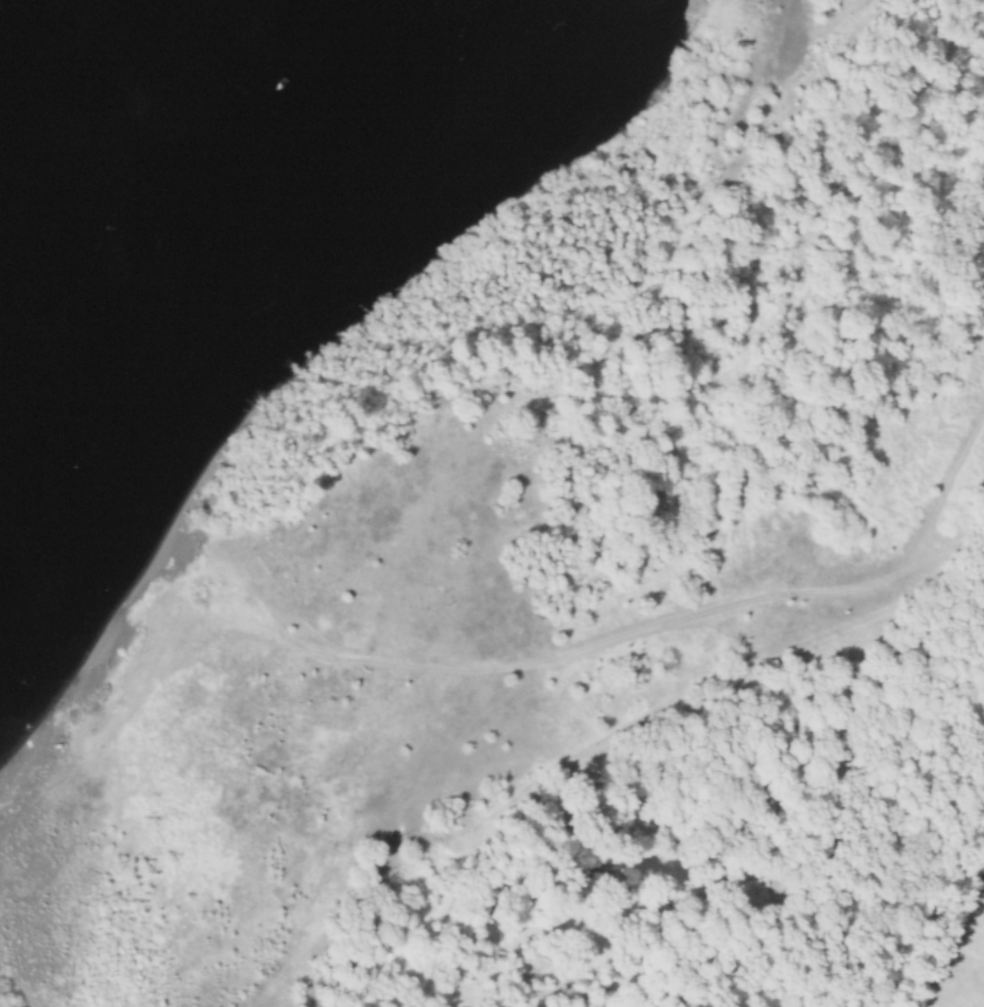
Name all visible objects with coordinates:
river: (93, 107)

